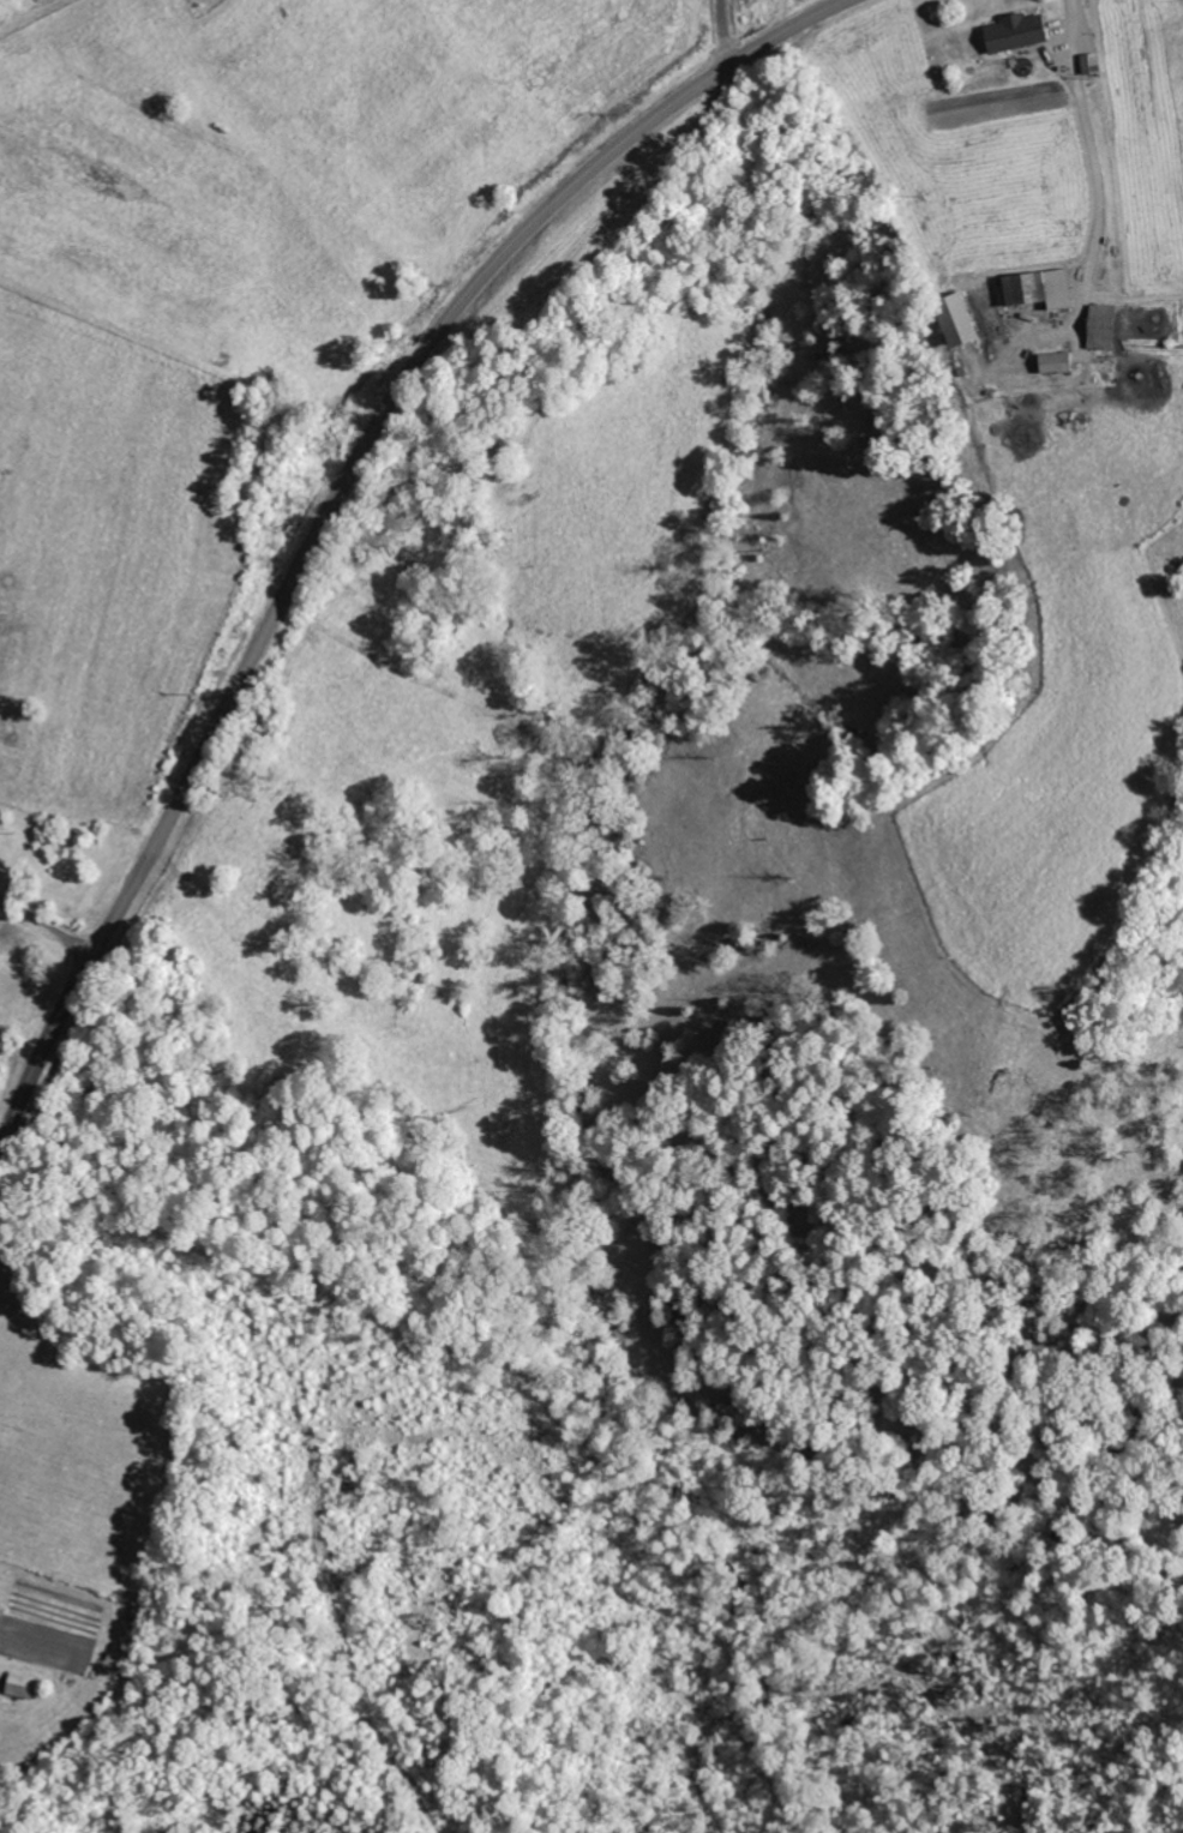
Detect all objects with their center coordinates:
building: (1016, 32)
road: (722, 35)
building: (1040, 288)
building: (957, 319)
building: (1057, 362)
road: (335, 503)
road: (43, 921)
building: (22, 1684)

